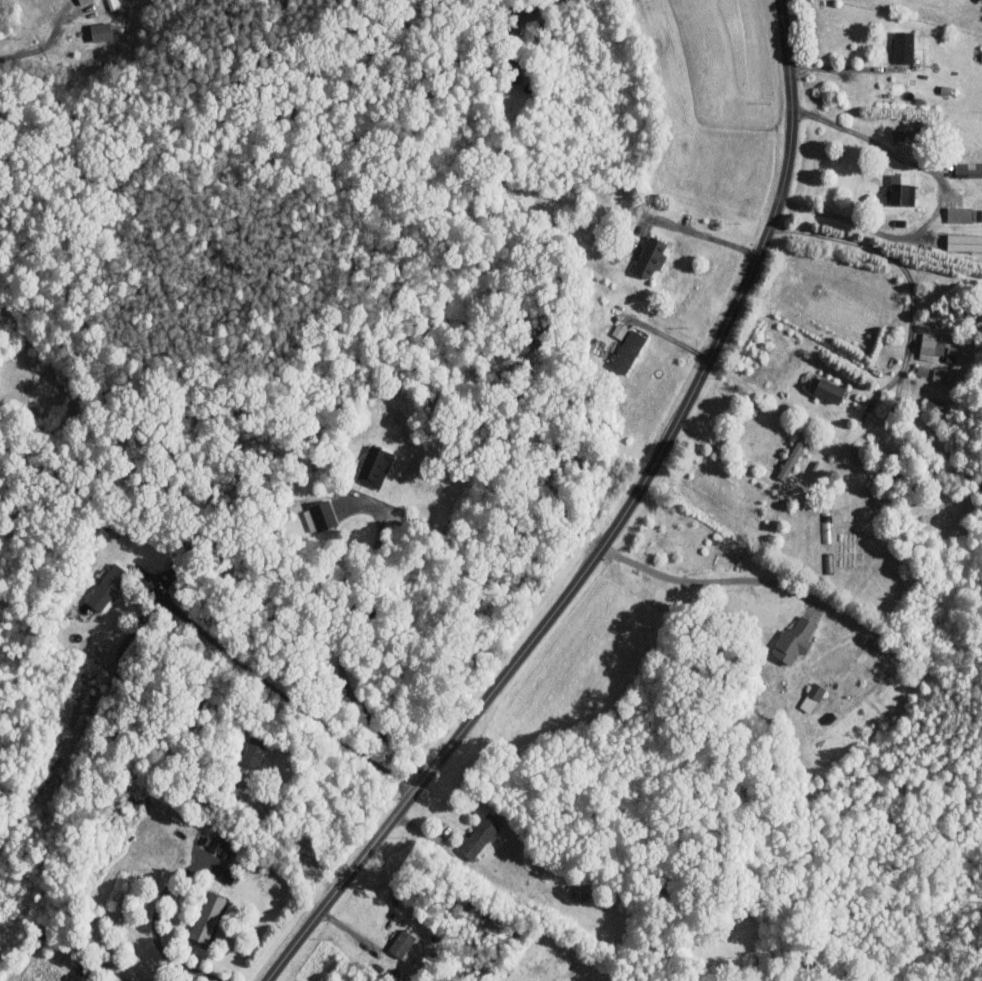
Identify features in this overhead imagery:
road: (545, 5)
building: (99, 31)
building: (903, 47)
road: (41, 48)
road: (837, 68)
building: (974, 169)
building: (900, 190)
road: (945, 198)
building: (964, 214)
road: (707, 236)
building: (964, 242)
building: (649, 257)
road: (904, 267)
building: (929, 345)
building: (624, 346)
building: (943, 374)
building: (826, 388)
building: (374, 466)
building: (318, 516)
road: (613, 528)
road: (702, 580)
building: (106, 586)
building: (793, 639)
road: (342, 641)
road: (276, 690)
building: (811, 696)
building: (251, 751)
road: (275, 833)
building: (478, 834)
building: (206, 917)
road: (153, 929)
building: (400, 942)

